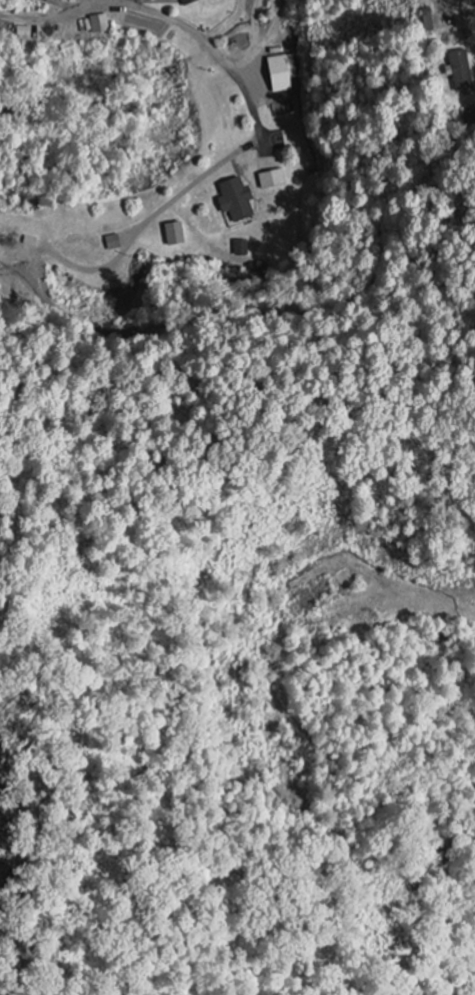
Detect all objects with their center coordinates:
building: (187, 2)
road: (132, 4)
building: (427, 23)
building: (97, 25)
building: (458, 71)
building: (282, 74)
building: (270, 181)
building: (234, 202)
building: (174, 235)

